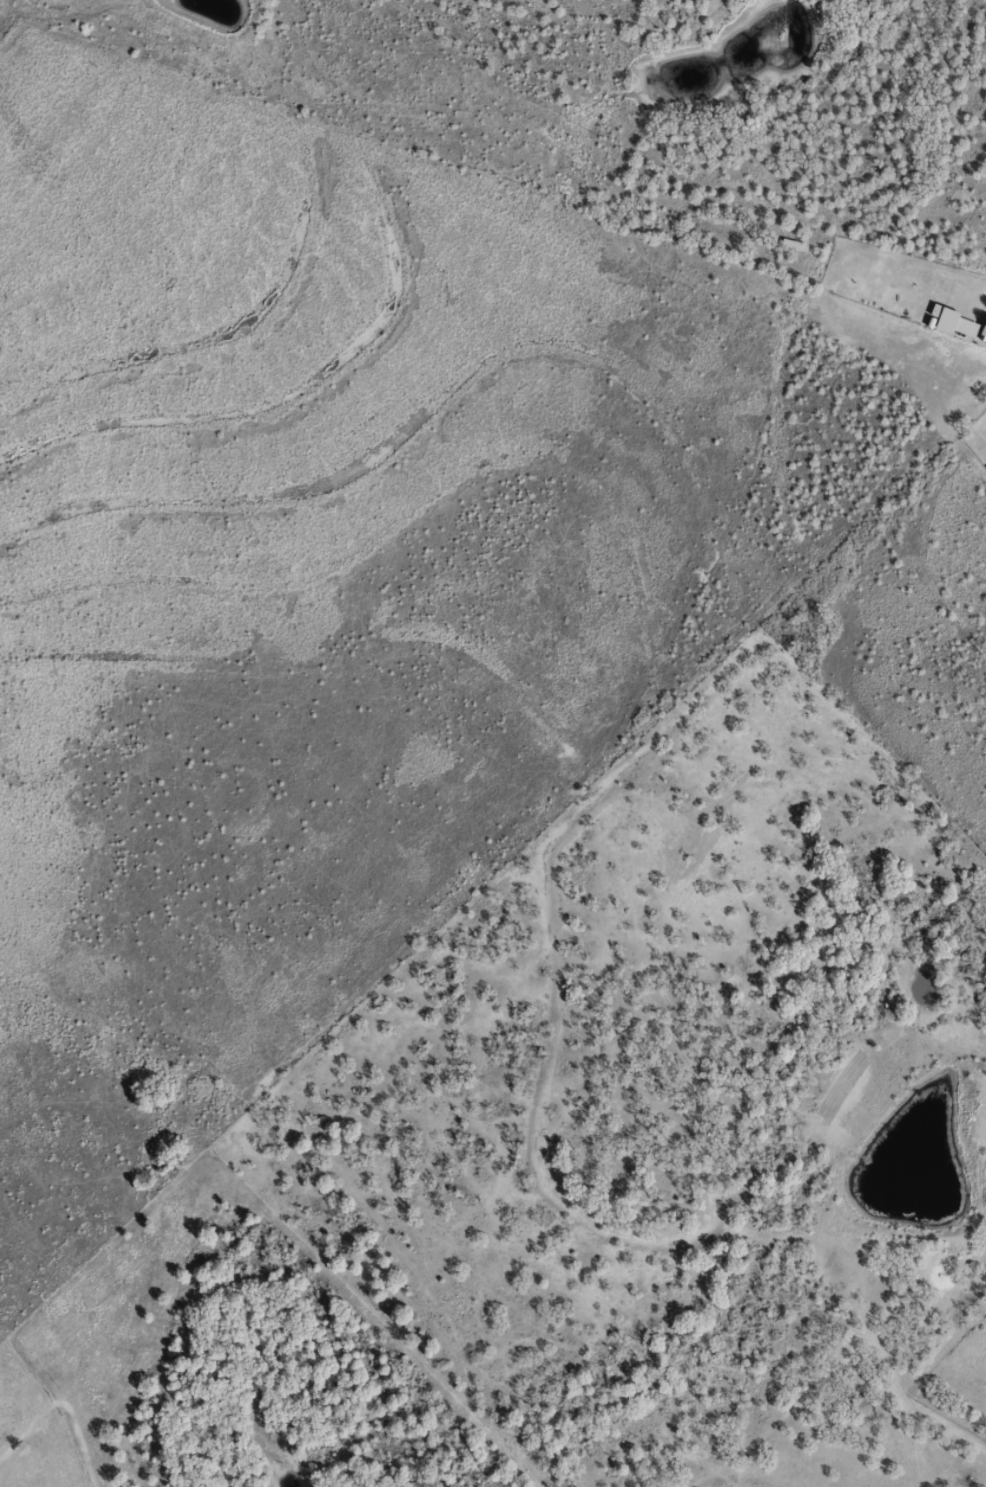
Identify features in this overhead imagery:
building: (792, 245)
building: (953, 322)
building: (984, 328)
building: (860, 1401)

